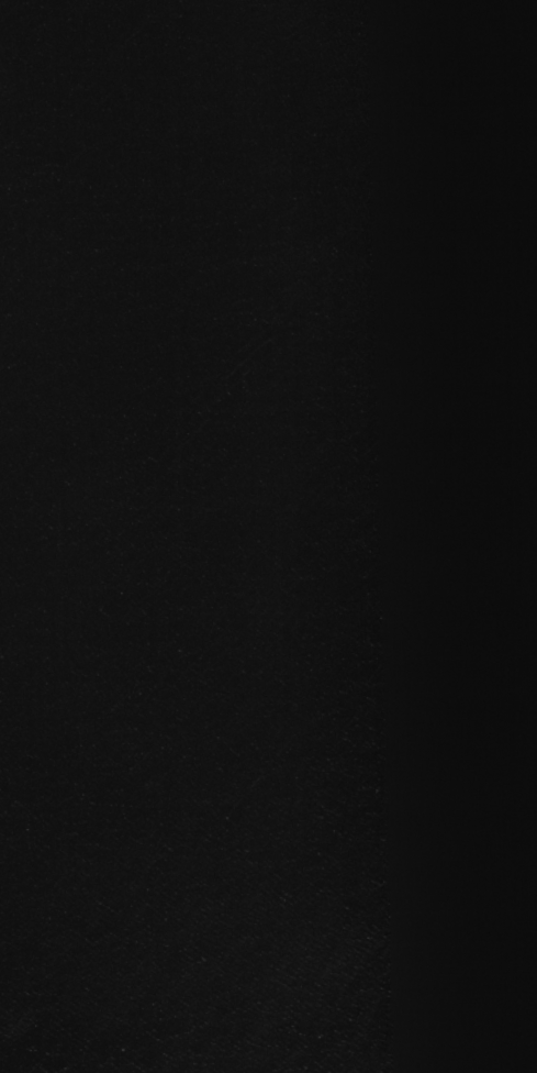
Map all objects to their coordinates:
river: (368, 118)

